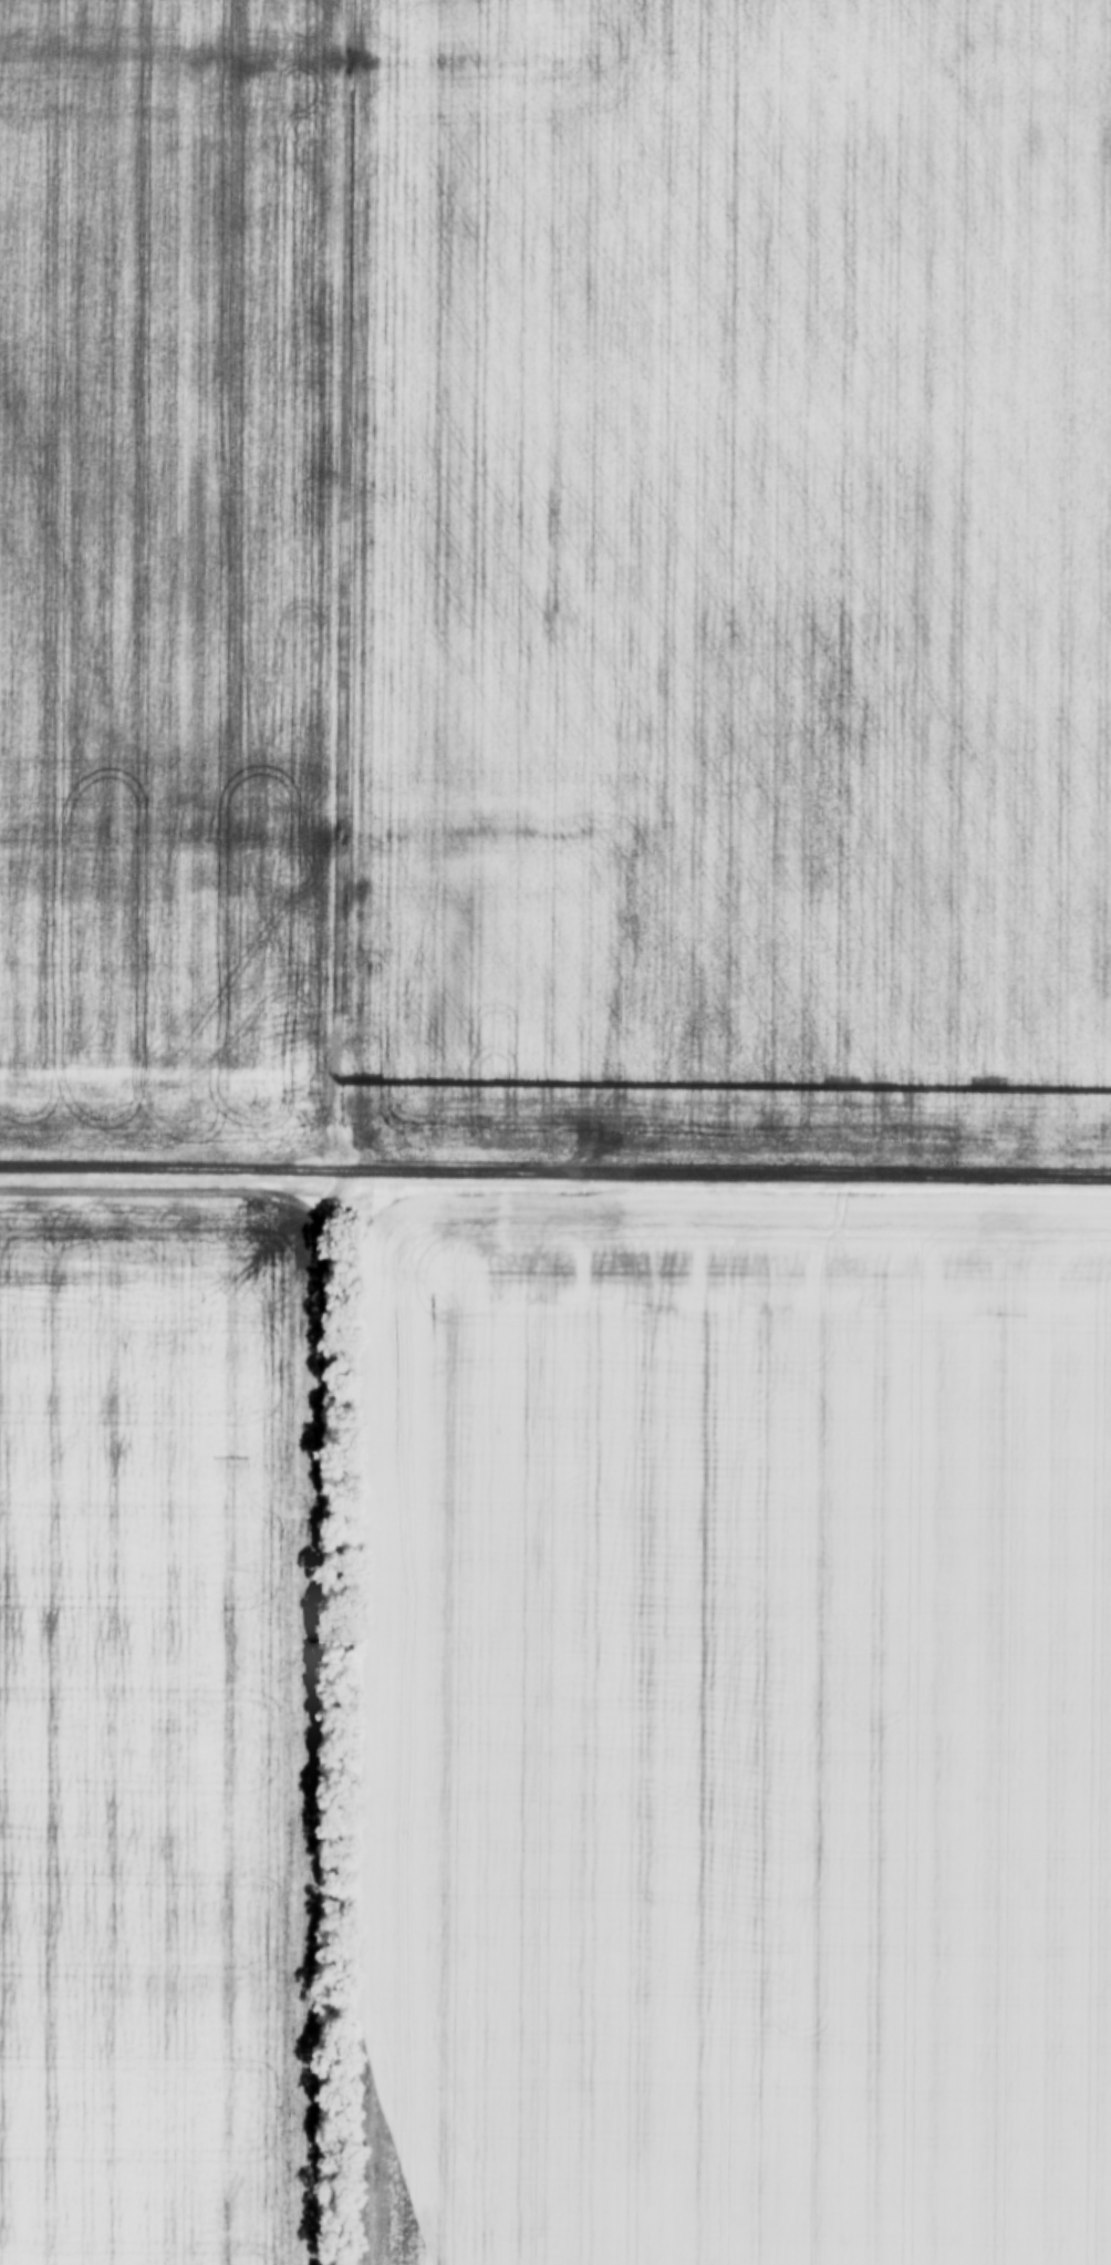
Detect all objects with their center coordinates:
road: (555, 1171)

